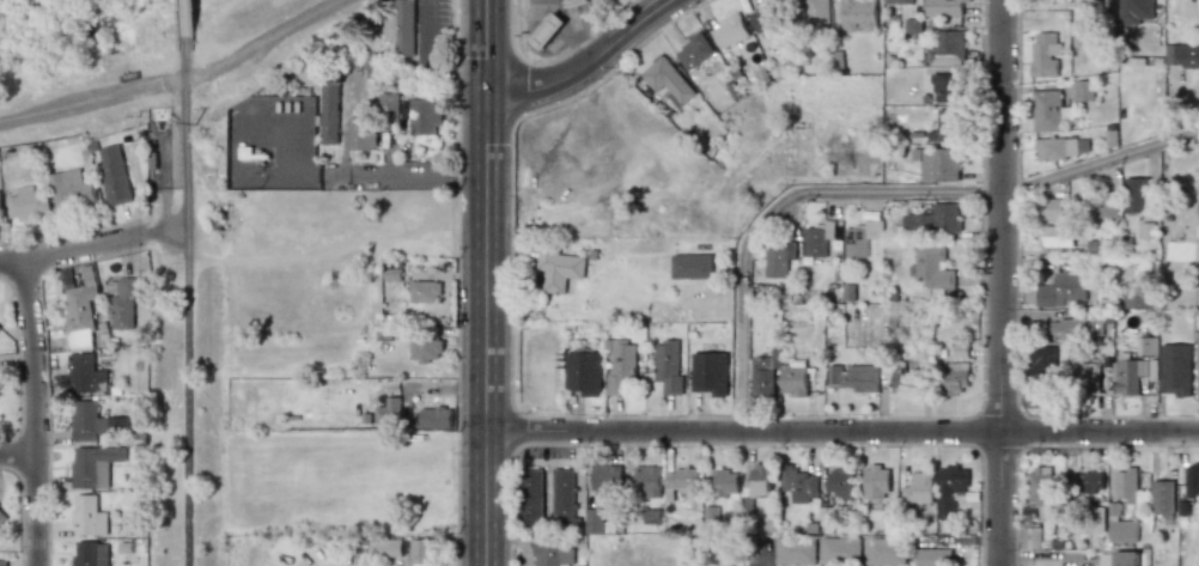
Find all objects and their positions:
building: (899, 1)
building: (572, 2)
building: (944, 7)
building: (1134, 11)
building: (816, 12)
building: (858, 14)
building: (766, 20)
road: (188, 25)
building: (400, 28)
building: (547, 31)
building: (729, 31)
road: (266, 39)
building: (948, 48)
building: (694, 51)
building: (1043, 55)
building: (1181, 56)
road: (588, 63)
building: (373, 65)
building: (662, 75)
building: (945, 87)
building: (1084, 91)
road: (93, 102)
building: (1047, 110)
building: (329, 111)
building: (388, 111)
building: (424, 116)
road: (341, 121)
building: (947, 126)
building: (361, 133)
building: (938, 164)
road: (407, 170)
building: (114, 175)
building: (71, 189)
road: (872, 195)
building: (1136, 195)
building: (28, 203)
building: (1052, 208)
building: (1198, 209)
building: (0, 211)
building: (933, 220)
building: (1198, 230)
building: (1058, 236)
building: (862, 238)
building: (817, 239)
road: (75, 249)
building: (778, 261)
building: (692, 266)
building: (558, 268)
building: (932, 270)
road: (487, 282)
road: (1003, 282)
building: (1063, 290)
building: (425, 292)
building: (1138, 298)
building: (126, 302)
building: (81, 303)
road: (188, 308)
building: (0, 327)
building: (1065, 329)
building: (1146, 346)
building: (426, 349)
building: (668, 366)
building: (621, 367)
building: (1198, 367)
building: (1175, 369)
building: (584, 372)
building: (1043, 372)
building: (710, 373)
building: (765, 373)
building: (86, 375)
building: (853, 377)
building: (955, 377)
building: (1126, 377)
building: (793, 378)
building: (1088, 378)
building: (902, 379)
building: (2, 384)
road: (34, 412)
building: (389, 412)
building: (436, 418)
building: (95, 422)
road: (842, 433)
road: (17, 455)
building: (93, 465)
building: (607, 479)
building: (682, 479)
building: (647, 481)
building: (760, 481)
building: (726, 482)
building: (841, 482)
building: (876, 482)
building: (1094, 482)
building: (1192, 483)
building: (799, 485)
building: (1126, 485)
building: (1040, 486)
building: (919, 488)
building: (950, 488)
building: (564, 497)
building: (1163, 497)
building: (532, 498)
building: (89, 516)
building: (2, 517)
building: (1095, 519)
building: (595, 521)
building: (1124, 531)
building: (1030, 534)
building: (385, 547)
building: (840, 550)
building: (421, 552)
building: (795, 552)
building: (884, 552)
building: (91, 553)
building: (554, 554)
road: (763, 554)
building: (933, 558)
building: (1126, 558)
building: (2, 562)

